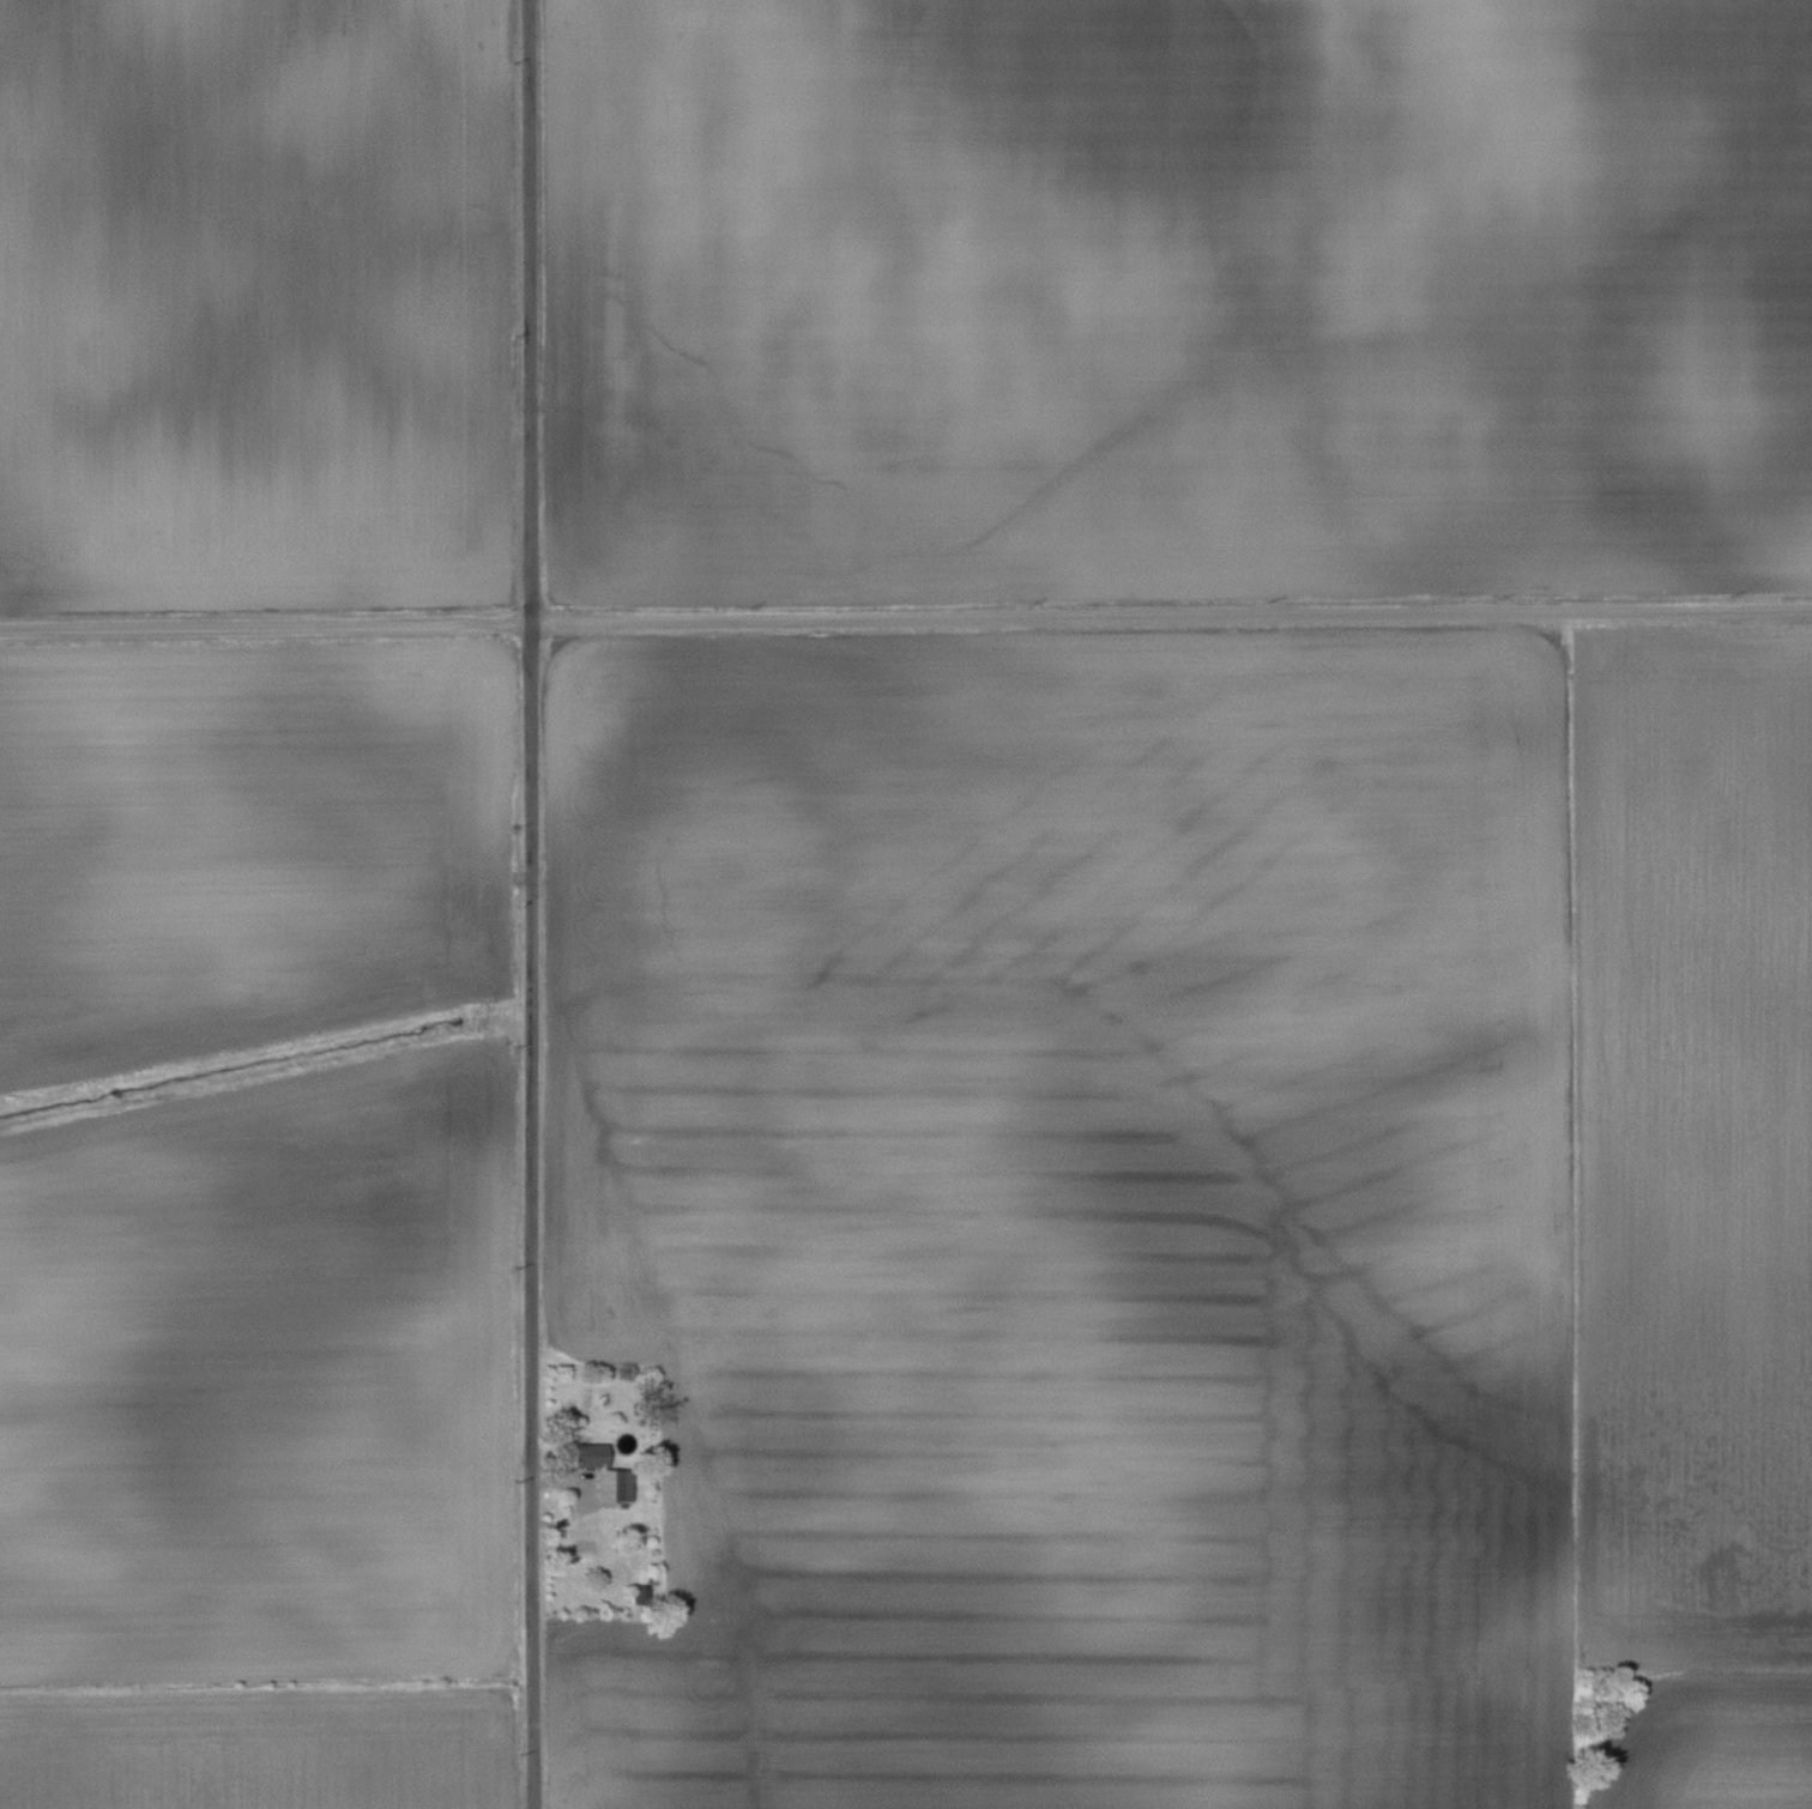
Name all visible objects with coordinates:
road: (905, 613)
road: (519, 903)
building: (603, 1472)

